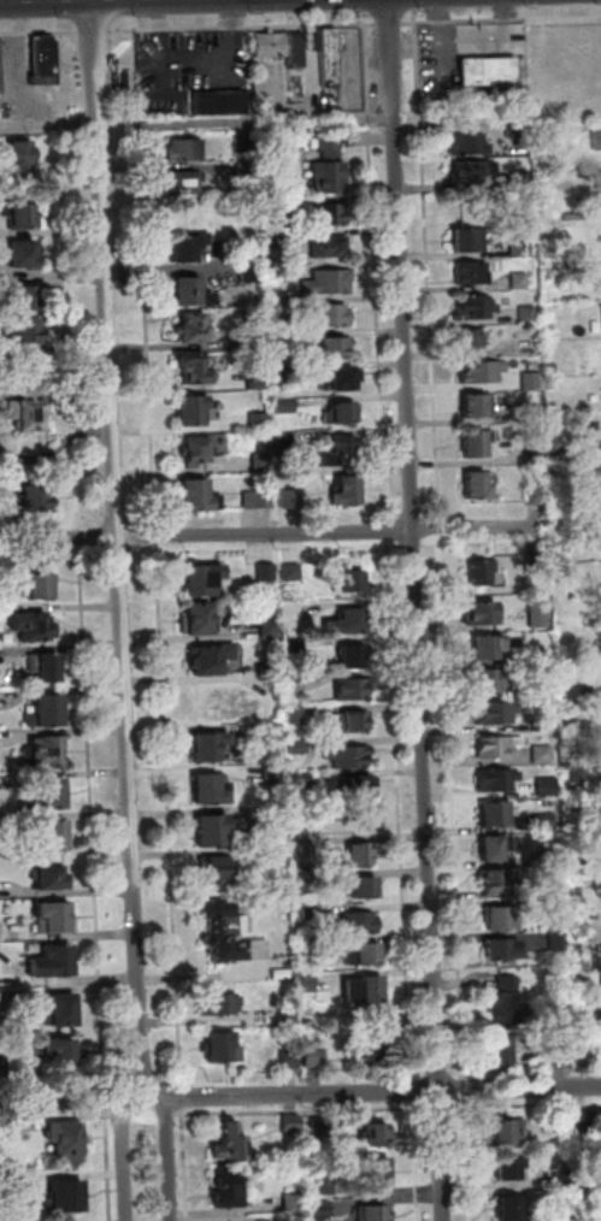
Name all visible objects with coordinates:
road: (416, 4)
road: (365, 5)
road: (500, 19)
road: (390, 23)
road: (246, 25)
road: (96, 30)
road: (40, 31)
building: (266, 43)
building: (291, 48)
building: (326, 57)
building: (46, 60)
road: (23, 63)
building: (1, 70)
building: (485, 70)
road: (137, 81)
building: (217, 100)
road: (49, 124)
building: (512, 130)
building: (548, 132)
building: (595, 138)
building: (242, 142)
building: (462, 142)
building: (328, 144)
building: (182, 149)
building: (24, 157)
building: (242, 170)
building: (473, 170)
building: (328, 175)
building: (518, 178)
building: (179, 181)
building: (272, 206)
building: (325, 212)
building: (23, 214)
building: (577, 217)
building: (272, 238)
building: (460, 238)
building: (182, 246)
building: (328, 246)
building: (520, 248)
building: (25, 253)
building: (247, 256)
road: (376, 266)
road: (429, 267)
building: (467, 271)
building: (278, 273)
building: (247, 276)
building: (517, 278)
road: (69, 279)
building: (325, 281)
building: (185, 289)
building: (24, 296)
building: (475, 306)
building: (277, 307)
building: (525, 312)
building: (329, 314)
building: (189, 328)
building: (26, 330)
road: (149, 331)
building: (253, 336)
building: (467, 338)
building: (281, 341)
building: (331, 348)
building: (189, 366)
building: (30, 371)
building: (479, 371)
building: (278, 374)
building: (338, 378)
building: (253, 379)
building: (534, 381)
building: (471, 403)
building: (282, 405)
building: (190, 408)
building: (30, 412)
building: (341, 412)
building: (255, 421)
building: (577, 423)
building: (600, 426)
building: (282, 438)
building: (471, 444)
building: (196, 450)
building: (336, 452)
building: (536, 454)
building: (556, 454)
building: (258, 464)
building: (476, 483)
building: (344, 488)
building: (195, 494)
building: (289, 496)
building: (532, 496)
building: (37, 497)
building: (254, 497)
road: (470, 527)
road: (389, 530)
road: (207, 535)
road: (81, 536)
road: (159, 536)
road: (118, 549)
building: (534, 561)
building: (267, 571)
building: (294, 571)
building: (479, 571)
building: (347, 577)
building: (198, 579)
building: (41, 583)
building: (291, 609)
road: (418, 610)
building: (481, 610)
building: (535, 614)
building: (195, 617)
building: (343, 621)
building: (35, 625)
building: (271, 629)
building: (296, 644)
building: (488, 647)
building: (530, 651)
building: (349, 655)
building: (208, 656)
building: (47, 666)
building: (272, 671)
building: (491, 678)
building: (296, 682)
building: (541, 686)
building: (349, 688)
building: (591, 695)
building: (48, 709)
building: (491, 710)
building: (297, 714)
building: (352, 720)
building: (541, 724)
building: (273, 731)
building: (208, 745)
building: (491, 745)
building: (300, 747)
building: (47, 751)
building: (346, 754)
building: (544, 754)
building: (273, 774)
building: (578, 774)
building: (493, 778)
building: (304, 779)
building: (358, 784)
building: (549, 786)
building: (210, 789)
building: (53, 794)
road: (454, 801)
road: (402, 809)
building: (494, 809)
road: (171, 814)
road: (95, 819)
building: (541, 820)
building: (277, 822)
building: (212, 830)
building: (54, 834)
building: (241, 836)
building: (494, 845)
building: (304, 848)
building: (355, 853)
building: (279, 856)
building: (220, 869)
building: (52, 877)
building: (495, 879)
building: (306, 884)
building: (360, 885)
building: (312, 912)
building: (500, 915)
building: (55, 916)
building: (285, 918)
building: (357, 919)
building: (1, 931)
building: (231, 932)
building: (497, 946)
building: (308, 950)
building: (357, 950)
building: (54, 961)
building: (1, 972)
building: (283, 973)
road: (201, 975)
building: (310, 983)
building: (360, 987)
building: (501, 996)
building: (2, 998)
building: (219, 1004)
building: (65, 1009)
building: (289, 1015)
building: (222, 1045)
building: (366, 1045)
building: (501, 1048)
building: (61, 1050)
building: (316, 1055)
building: (290, 1060)
building: (4, 1064)
road: (459, 1072)
road: (440, 1073)
road: (422, 1074)
road: (299, 1095)
road: (183, 1097)
road: (108, 1103)
road: (532, 1105)
road: (300, 1110)
building: (588, 1119)
building: (565, 1120)
building: (291, 1123)
building: (322, 1127)
building: (506, 1128)
building: (375, 1132)
building: (229, 1136)
building: (6, 1139)
building: (69, 1139)
road: (466, 1148)
road: (417, 1151)
building: (594, 1152)
road: (170, 1158)
road: (126, 1161)
road: (187, 1164)
road: (111, 1166)
building: (507, 1166)
building: (376, 1168)
building: (565, 1176)
building: (19, 1181)
building: (594, 1184)
building: (325, 1185)
building: (224, 1188)
building: (69, 1196)
building: (294, 1203)
building: (509, 1205)
building: (322, 1209)
building: (372, 1210)
building: (571, 1216)
building: (294, 1219)

